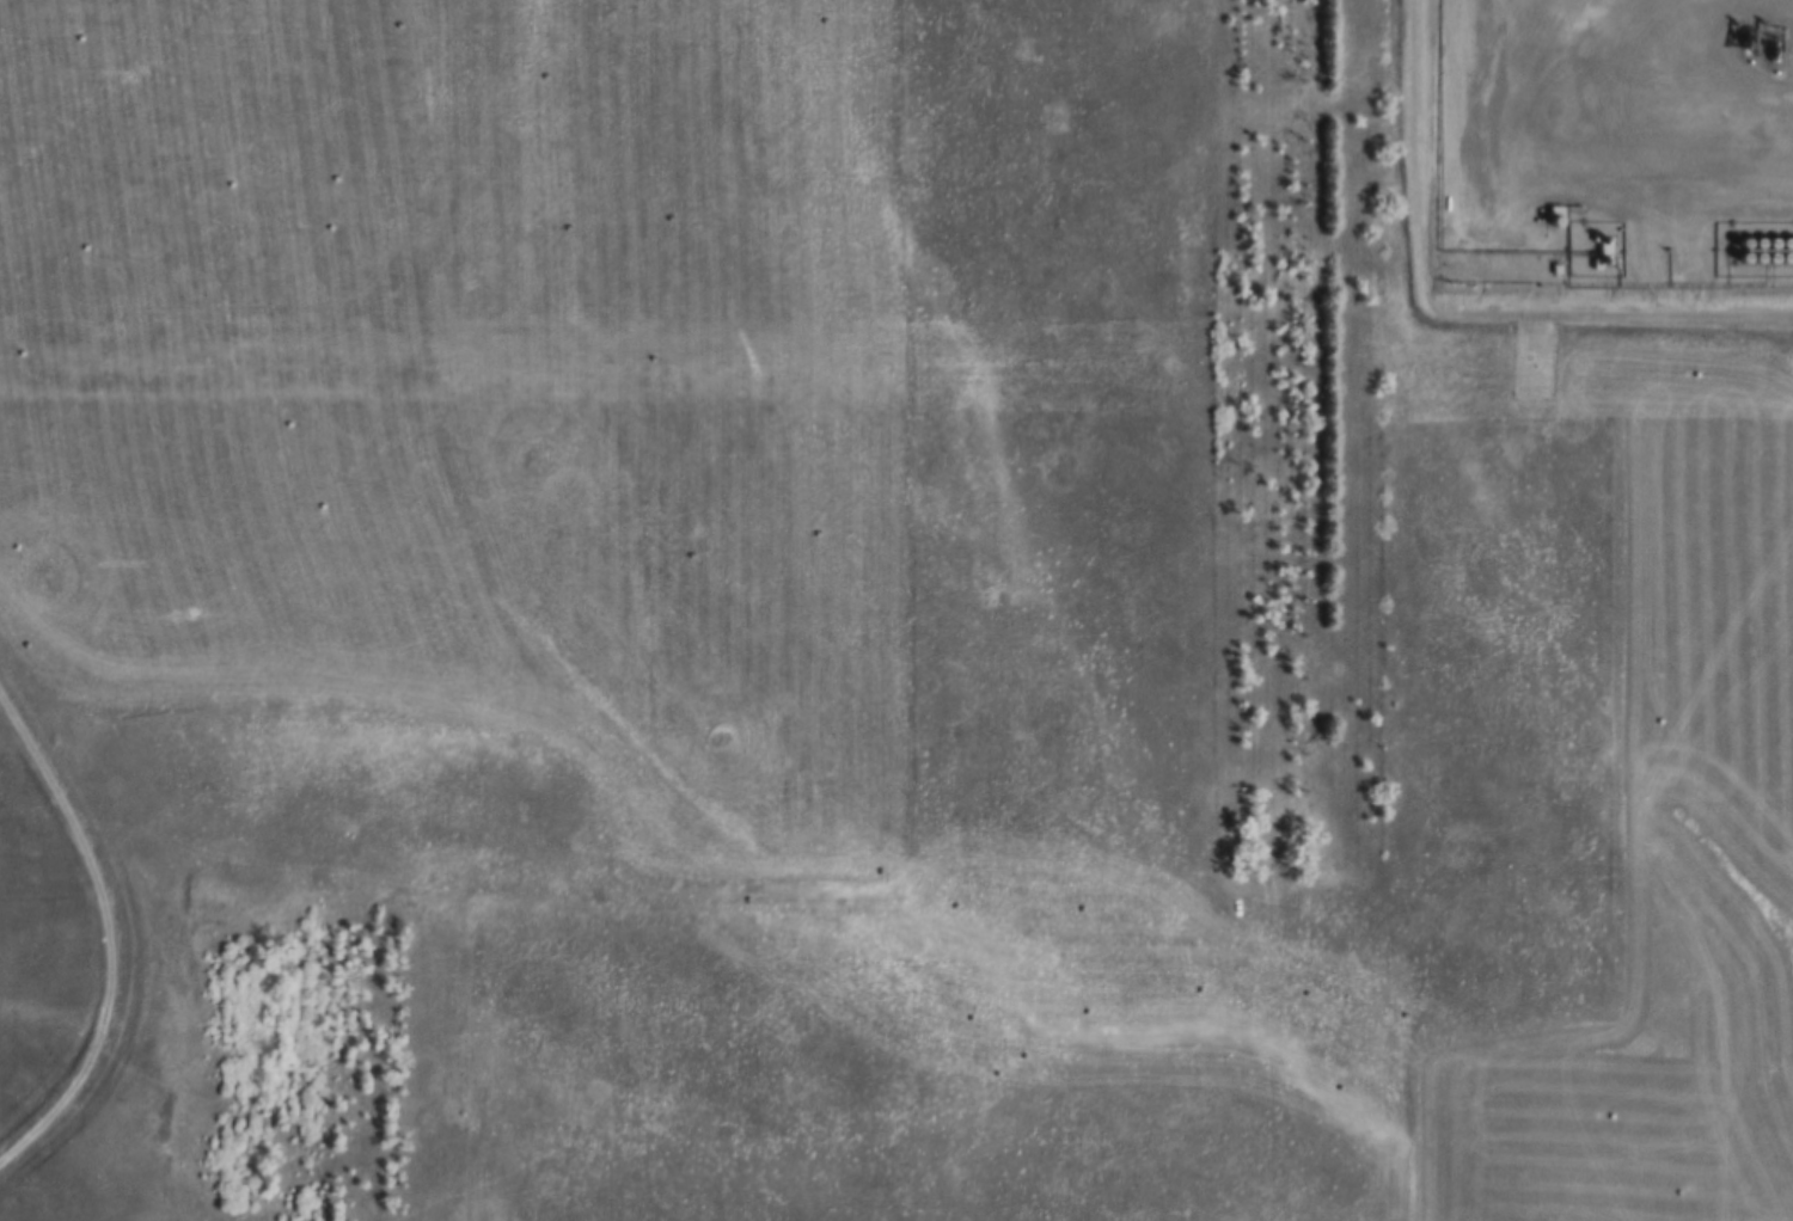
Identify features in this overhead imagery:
road: (485, 902)
road: (106, 939)

